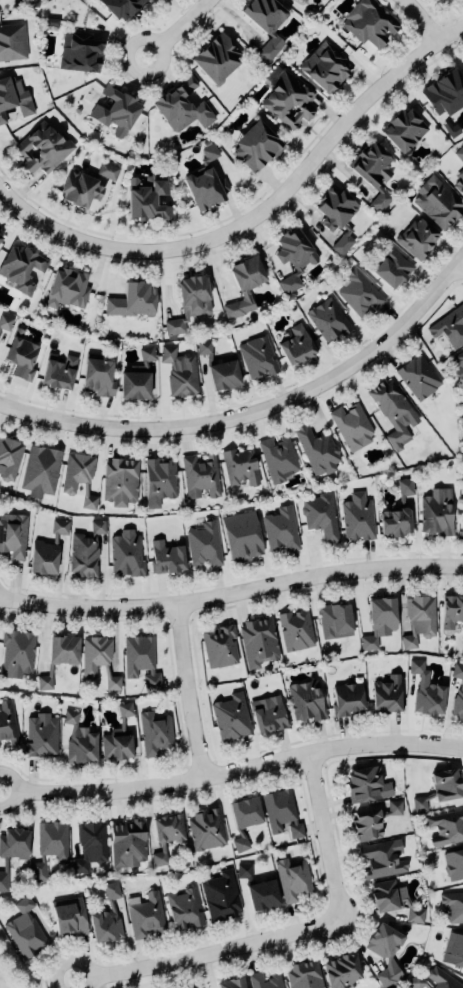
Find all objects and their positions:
building: (301, 0)
building: (118, 7)
road: (421, 21)
road: (184, 22)
building: (368, 23)
building: (12, 42)
building: (77, 52)
building: (214, 58)
building: (323, 68)
road: (152, 71)
building: (443, 92)
building: (13, 98)
building: (286, 98)
building: (179, 107)
building: (114, 111)
building: (401, 130)
building: (254, 145)
building: (41, 149)
building: (209, 154)
building: (459, 154)
building: (370, 164)
building: (106, 171)
road: (302, 172)
building: (458, 185)
building: (204, 188)
building: (77, 190)
building: (145, 197)
building: (379, 202)
building: (436, 203)
building: (331, 209)
road: (50, 227)
building: (416, 238)
building: (291, 257)
building: (20, 269)
building: (390, 269)
building: (242, 285)
building: (65, 289)
building: (359, 294)
building: (131, 301)
building: (188, 303)
building: (327, 320)
building: (5, 325)
building: (448, 328)
building: (295, 345)
building: (257, 357)
building: (19, 359)
building: (458, 366)
building: (217, 368)
building: (56, 372)
building: (179, 372)
building: (417, 377)
building: (95, 378)
building: (136, 379)
building: (391, 412)
road: (256, 414)
building: (352, 427)
building: (317, 452)
building: (9, 459)
building: (278, 459)
building: (240, 468)
building: (40, 472)
building: (76, 472)
building: (200, 477)
building: (119, 482)
building: (158, 482)
building: (87, 500)
building: (435, 512)
building: (395, 513)
building: (320, 517)
building: (356, 518)
building: (280, 531)
building: (462, 535)
building: (13, 536)
building: (239, 536)
building: (204, 545)
building: (45, 551)
building: (84, 551)
building: (125, 554)
building: (165, 558)
road: (232, 596)
building: (450, 612)
building: (334, 621)
building: (417, 621)
building: (377, 622)
building: (295, 631)
building: (257, 642)
building: (219, 647)
building: (59, 650)
building: (16, 655)
building: (95, 655)
building: (140, 662)
building: (44, 683)
building: (112, 684)
building: (424, 691)
road: (189, 692)
building: (457, 692)
building: (386, 695)
building: (344, 699)
building: (305, 702)
building: (265, 715)
building: (230, 718)
building: (7, 723)
building: (154, 735)
building: (40, 736)
building: (117, 737)
building: (76, 741)
road: (232, 771)
building: (364, 786)
building: (437, 790)
building: (242, 813)
building: (281, 814)
building: (371, 820)
building: (446, 829)
building: (206, 830)
building: (165, 836)
road: (326, 836)
building: (51, 844)
building: (110, 845)
building: (240, 845)
building: (11, 851)
building: (380, 860)
building: (453, 865)
building: (243, 871)
building: (292, 880)
building: (259, 896)
building: (219, 897)
building: (386, 897)
building: (451, 908)
building: (183, 909)
building: (145, 916)
building: (415, 916)
building: (106, 918)
building: (67, 920)
building: (25, 930)
building: (453, 951)
road: (209, 952)
building: (384, 954)
building: (339, 971)
building: (303, 975)
building: (434, 980)
building: (264, 981)
building: (229, 984)

